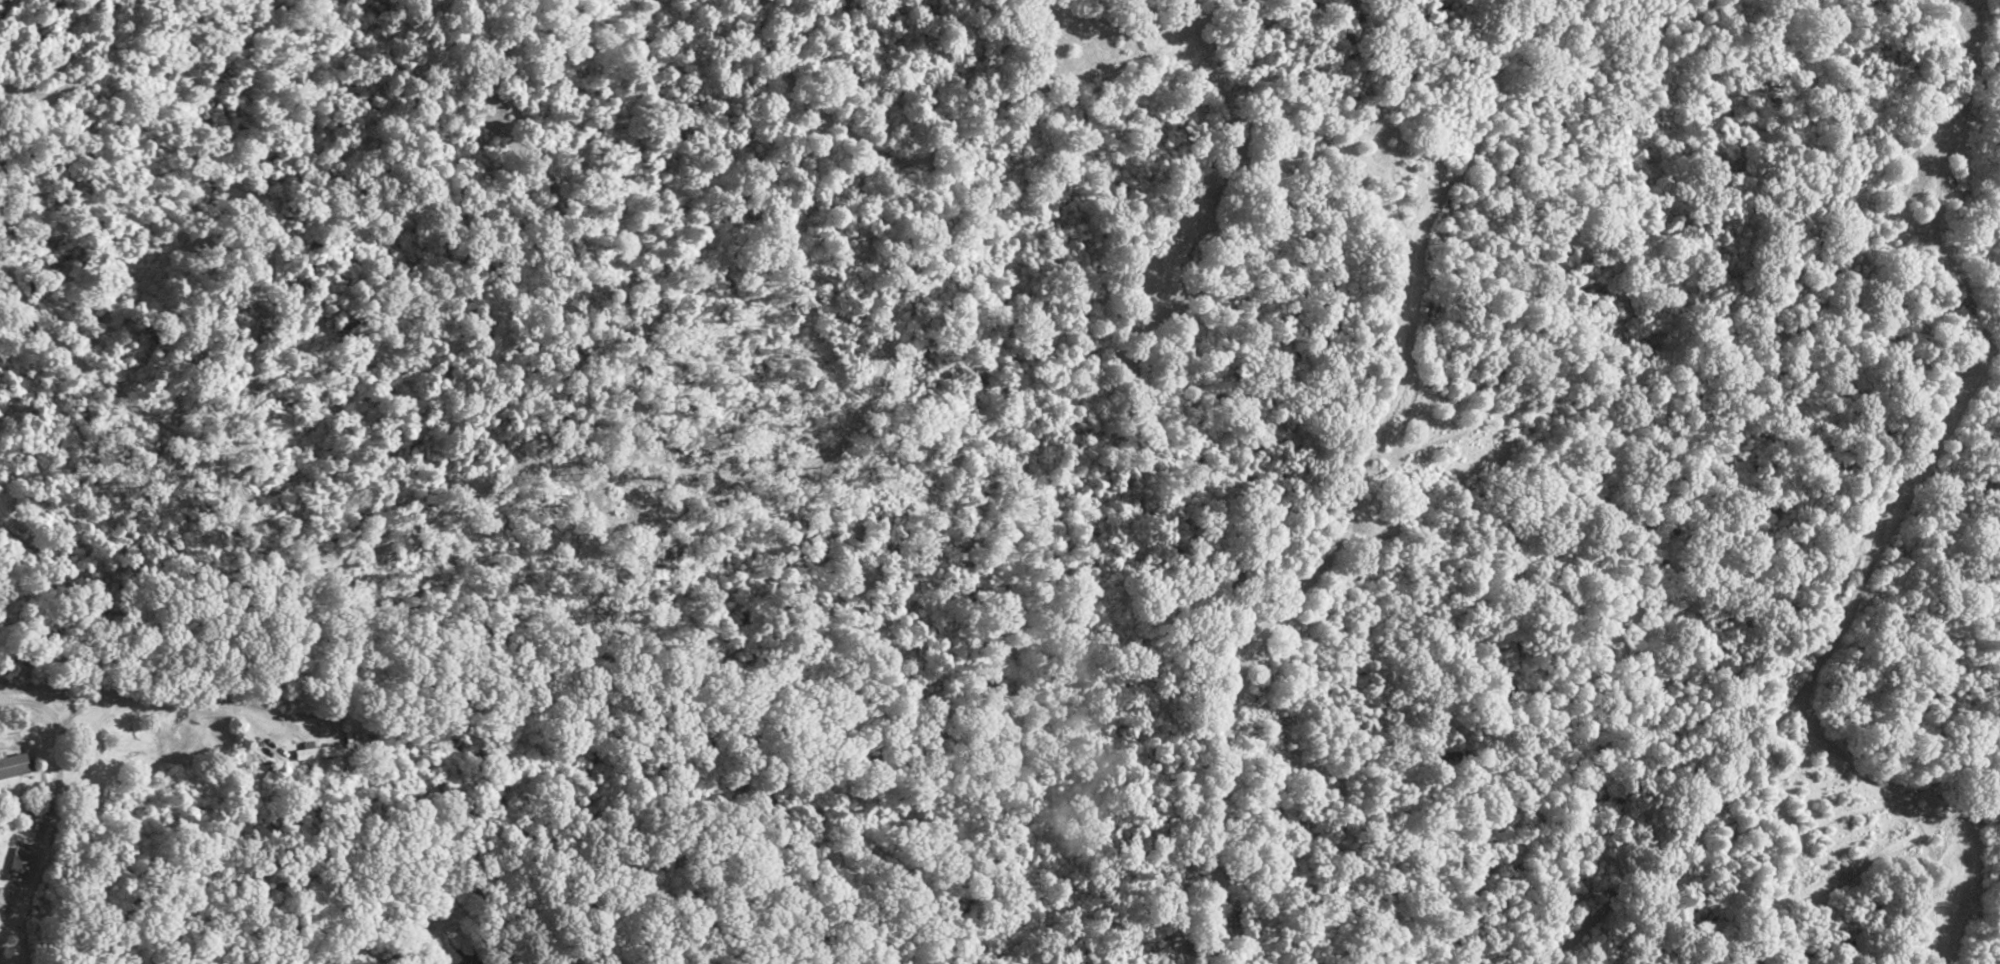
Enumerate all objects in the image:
building: (317, 752)
building: (11, 766)
building: (1, 894)

